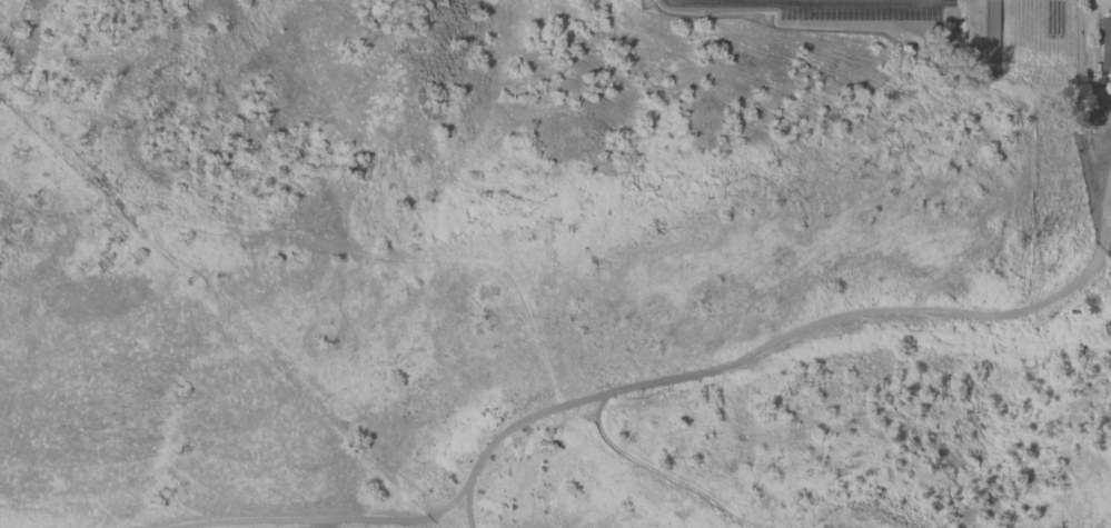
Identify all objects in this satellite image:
road: (801, 0)
parking lot: (859, 10)
street lamp: (796, 23)
street lamp: (891, 23)
building: (982, 37)
building: (1105, 41)
road: (785, 339)
road: (651, 469)

